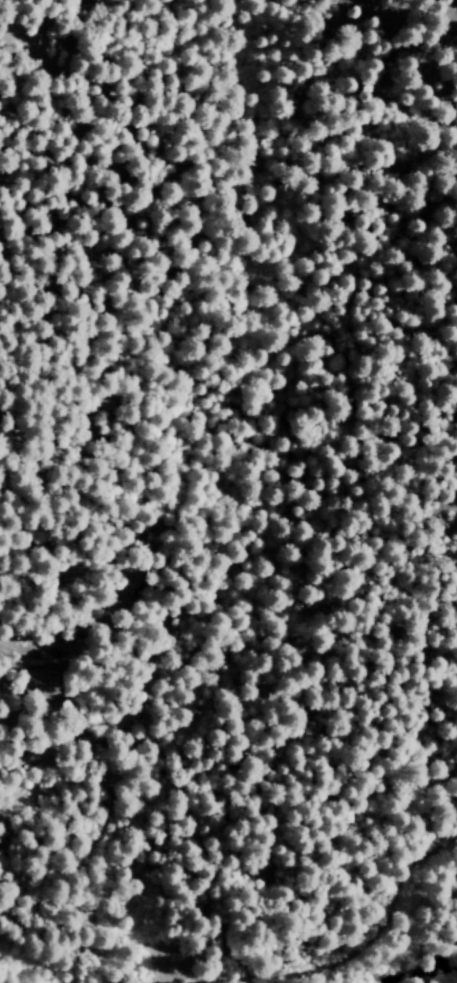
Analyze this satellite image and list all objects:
road: (154, 584)
building: (42, 682)
road: (372, 937)
road: (103, 941)

